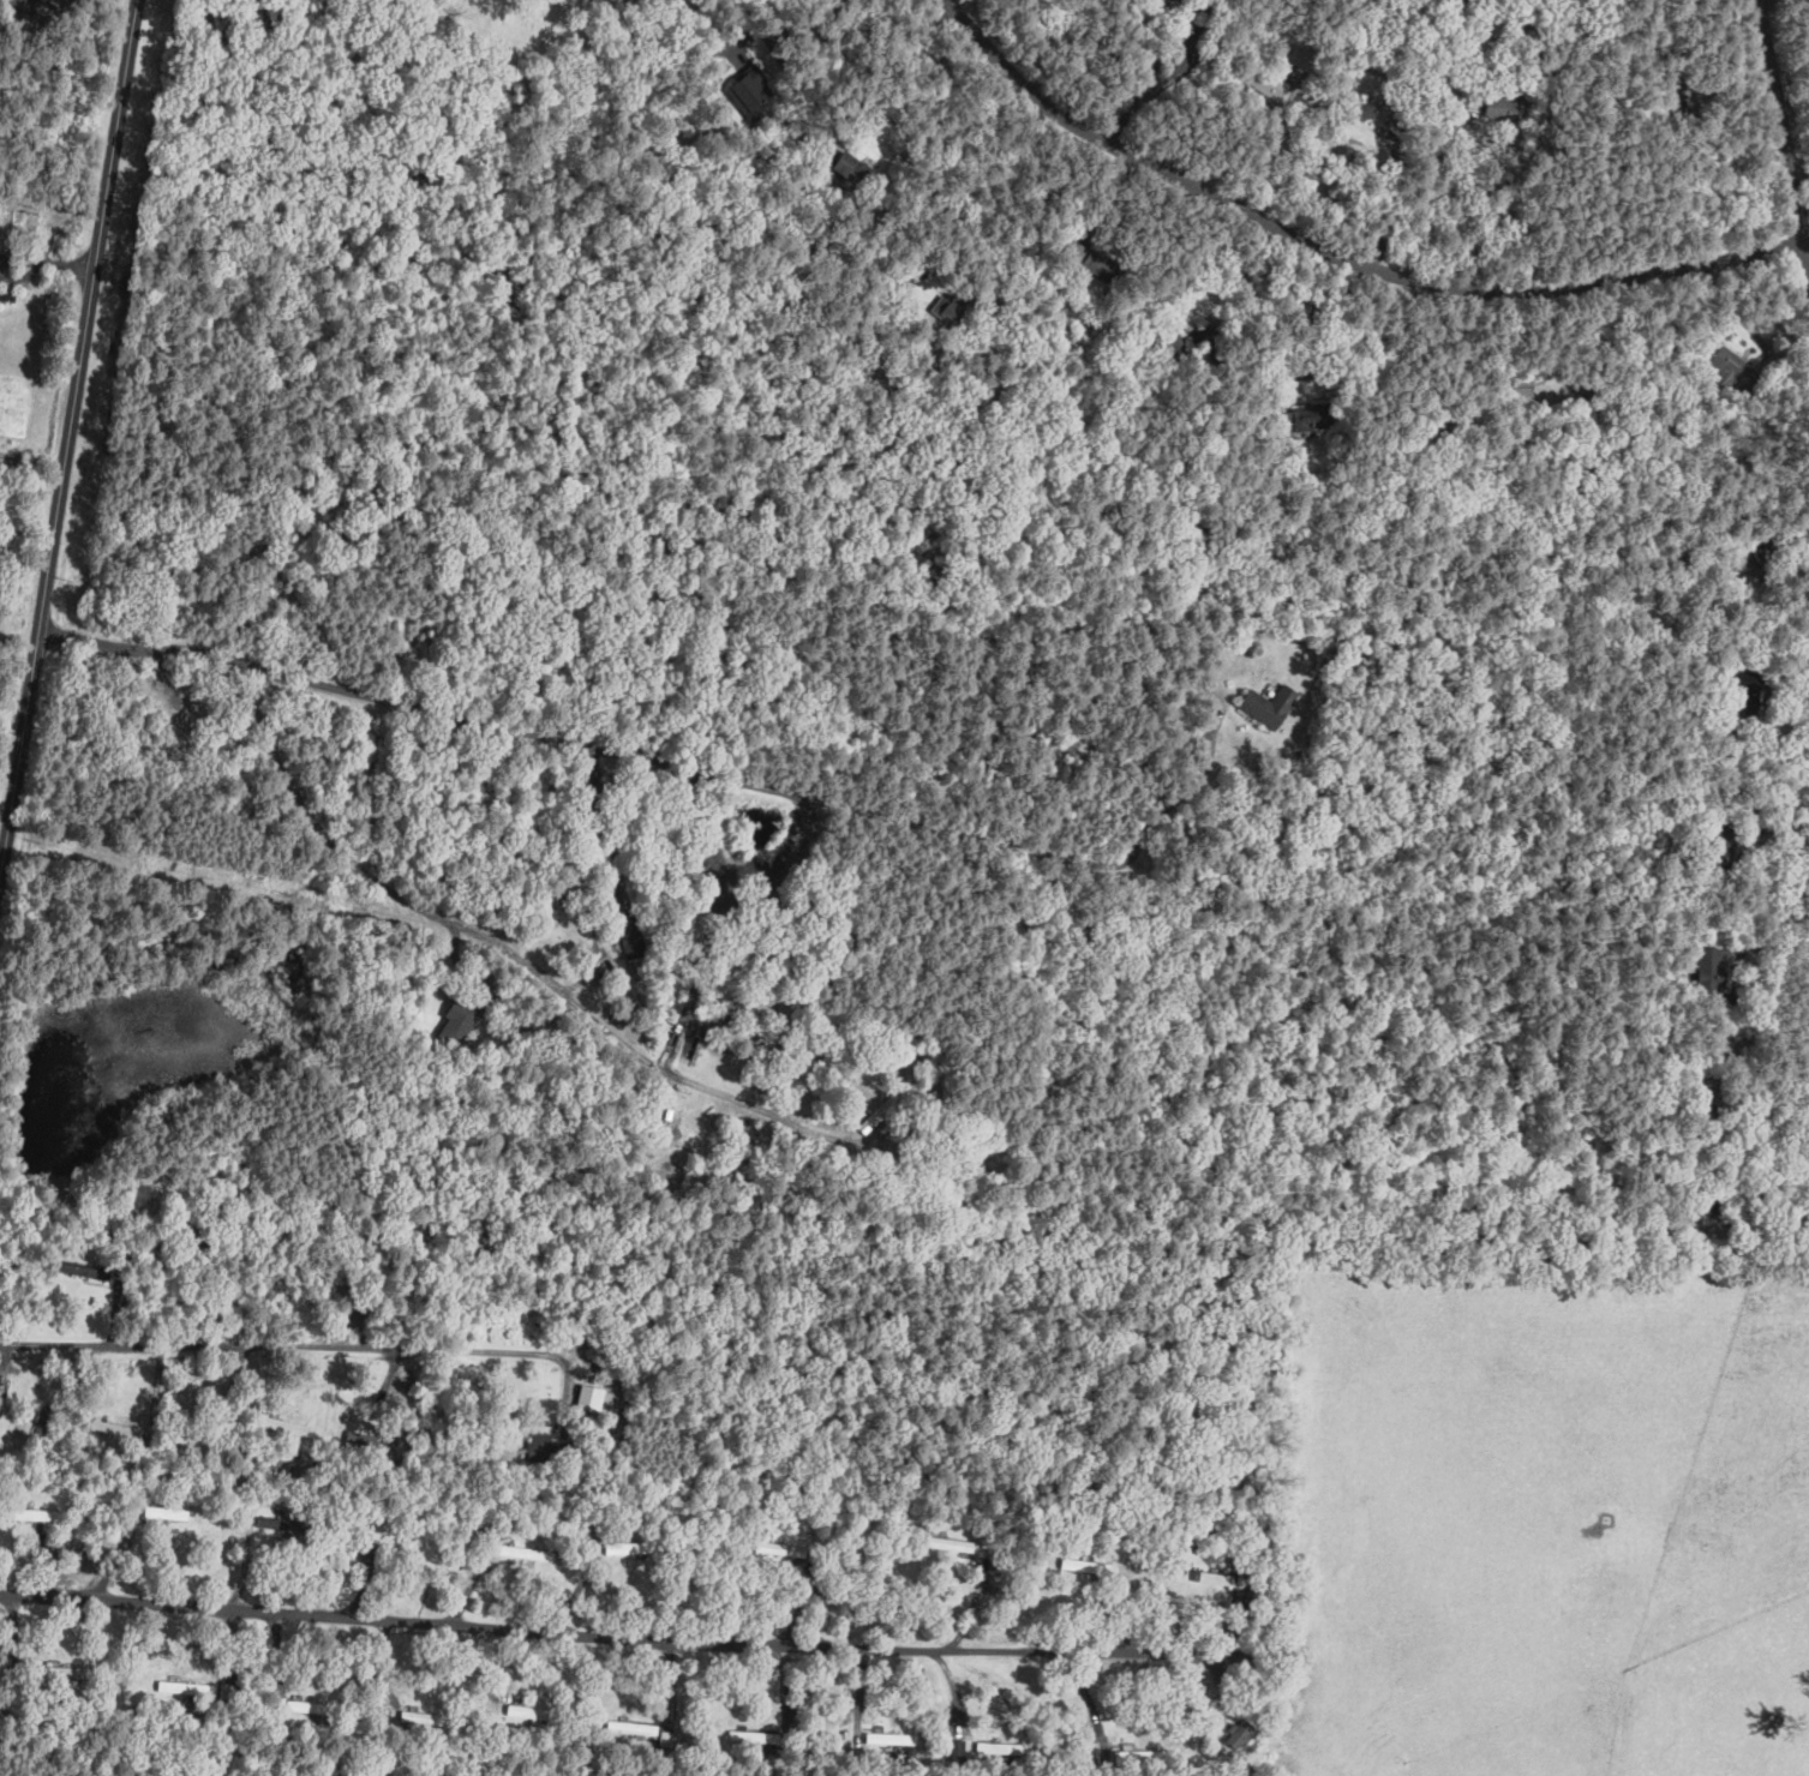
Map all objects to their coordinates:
road: (870, 13)
road: (1792, 85)
building: (751, 88)
road: (1156, 89)
road: (988, 131)
building: (852, 166)
road: (1430, 196)
road: (1343, 253)
road: (48, 262)
building: (947, 308)
road: (72, 426)
building: (1272, 704)
road: (1179, 791)
road: (795, 794)
road: (598, 814)
road: (365, 864)
road: (715, 923)
building: (1707, 966)
building: (457, 1021)
building: (666, 1111)
road: (283, 1345)
road: (6, 1356)
building: (591, 1397)
building: (545, 1444)
building: (160, 1512)
building: (522, 1552)
building: (1086, 1565)
road: (574, 1636)
building: (70, 1670)
road: (784, 1681)
road: (1088, 1697)
building: (298, 1705)
building: (421, 1717)
building: (633, 1727)
building: (754, 1735)
building: (892, 1738)
building: (1000, 1747)

